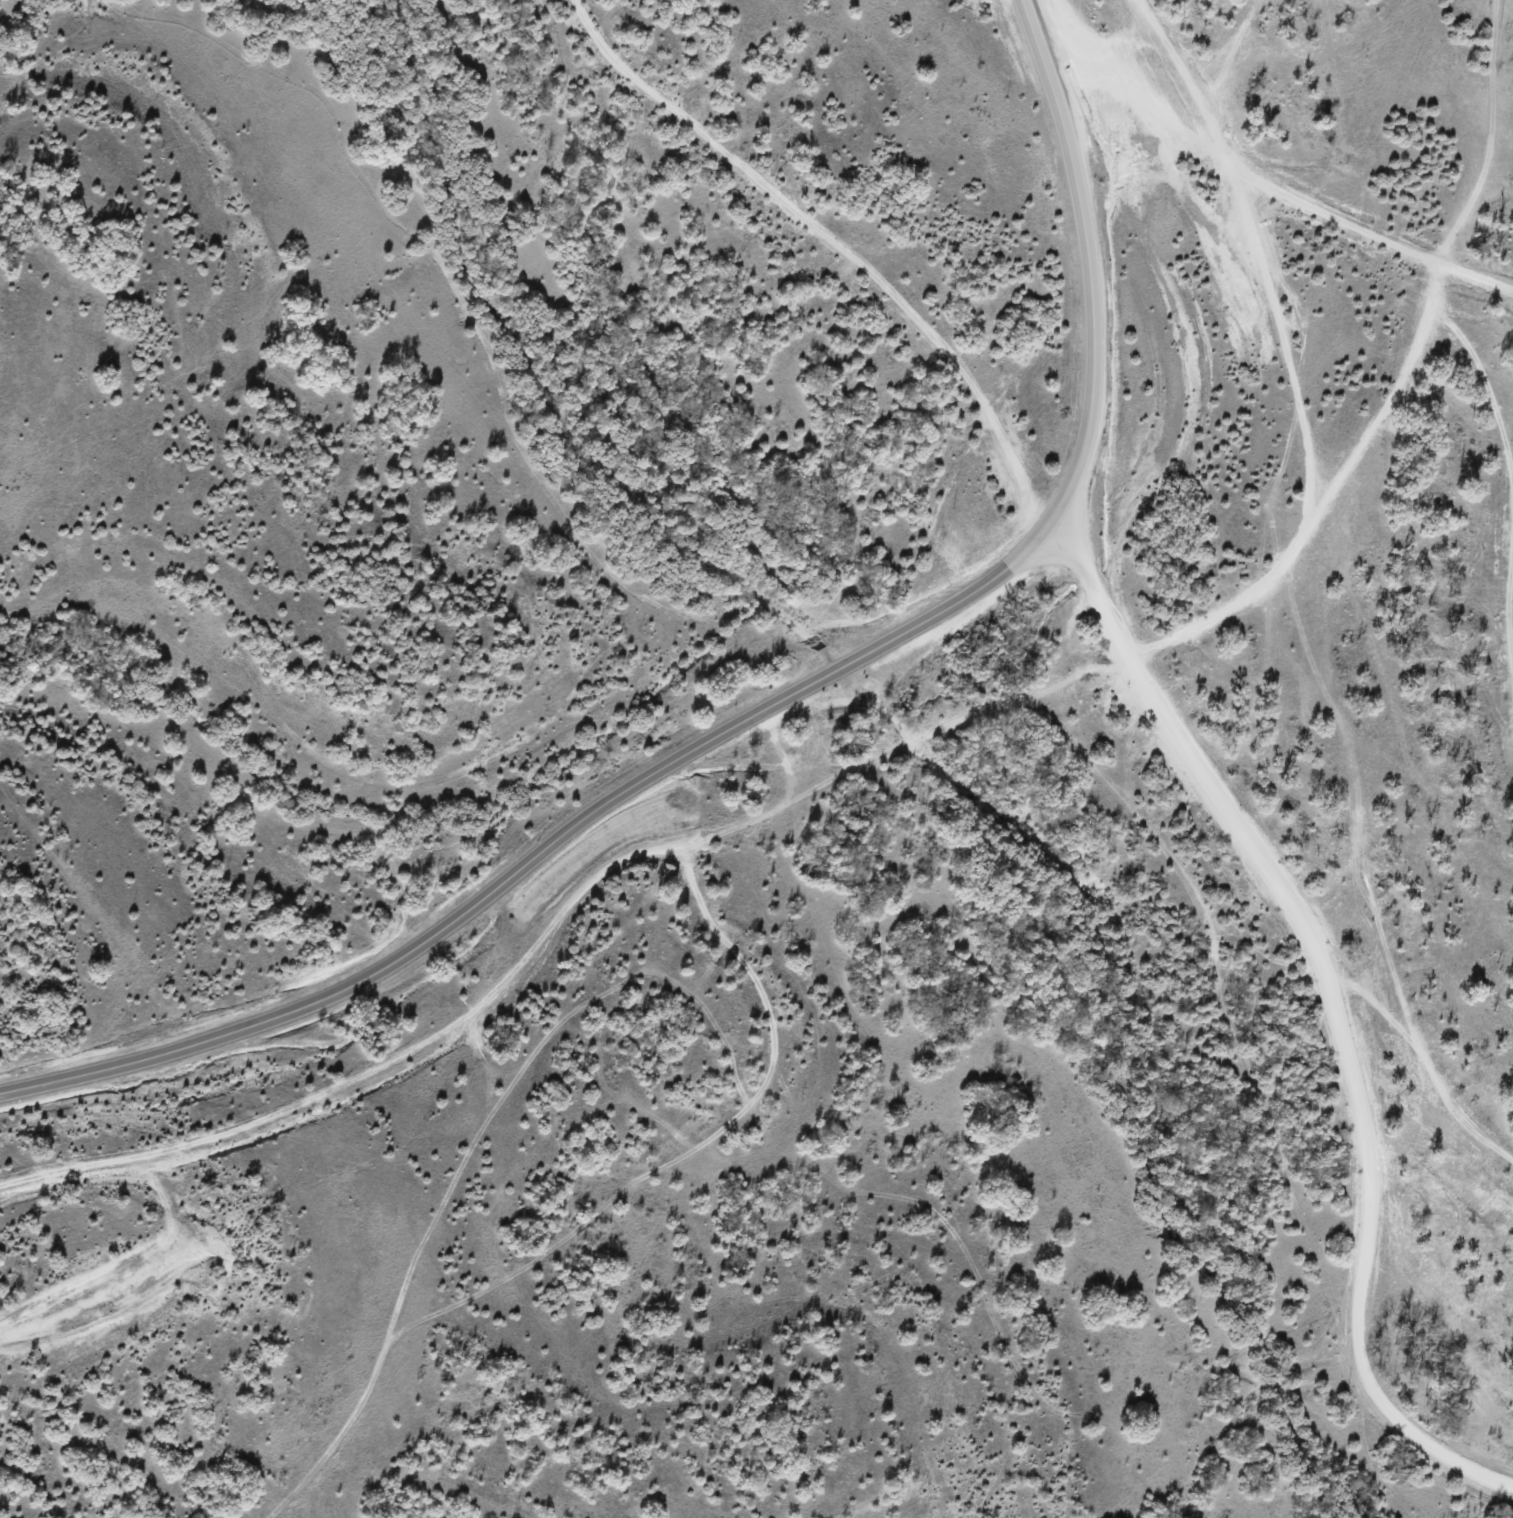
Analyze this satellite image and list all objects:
road: (832, 240)
road: (1090, 256)
road: (550, 849)
road: (1337, 1000)

